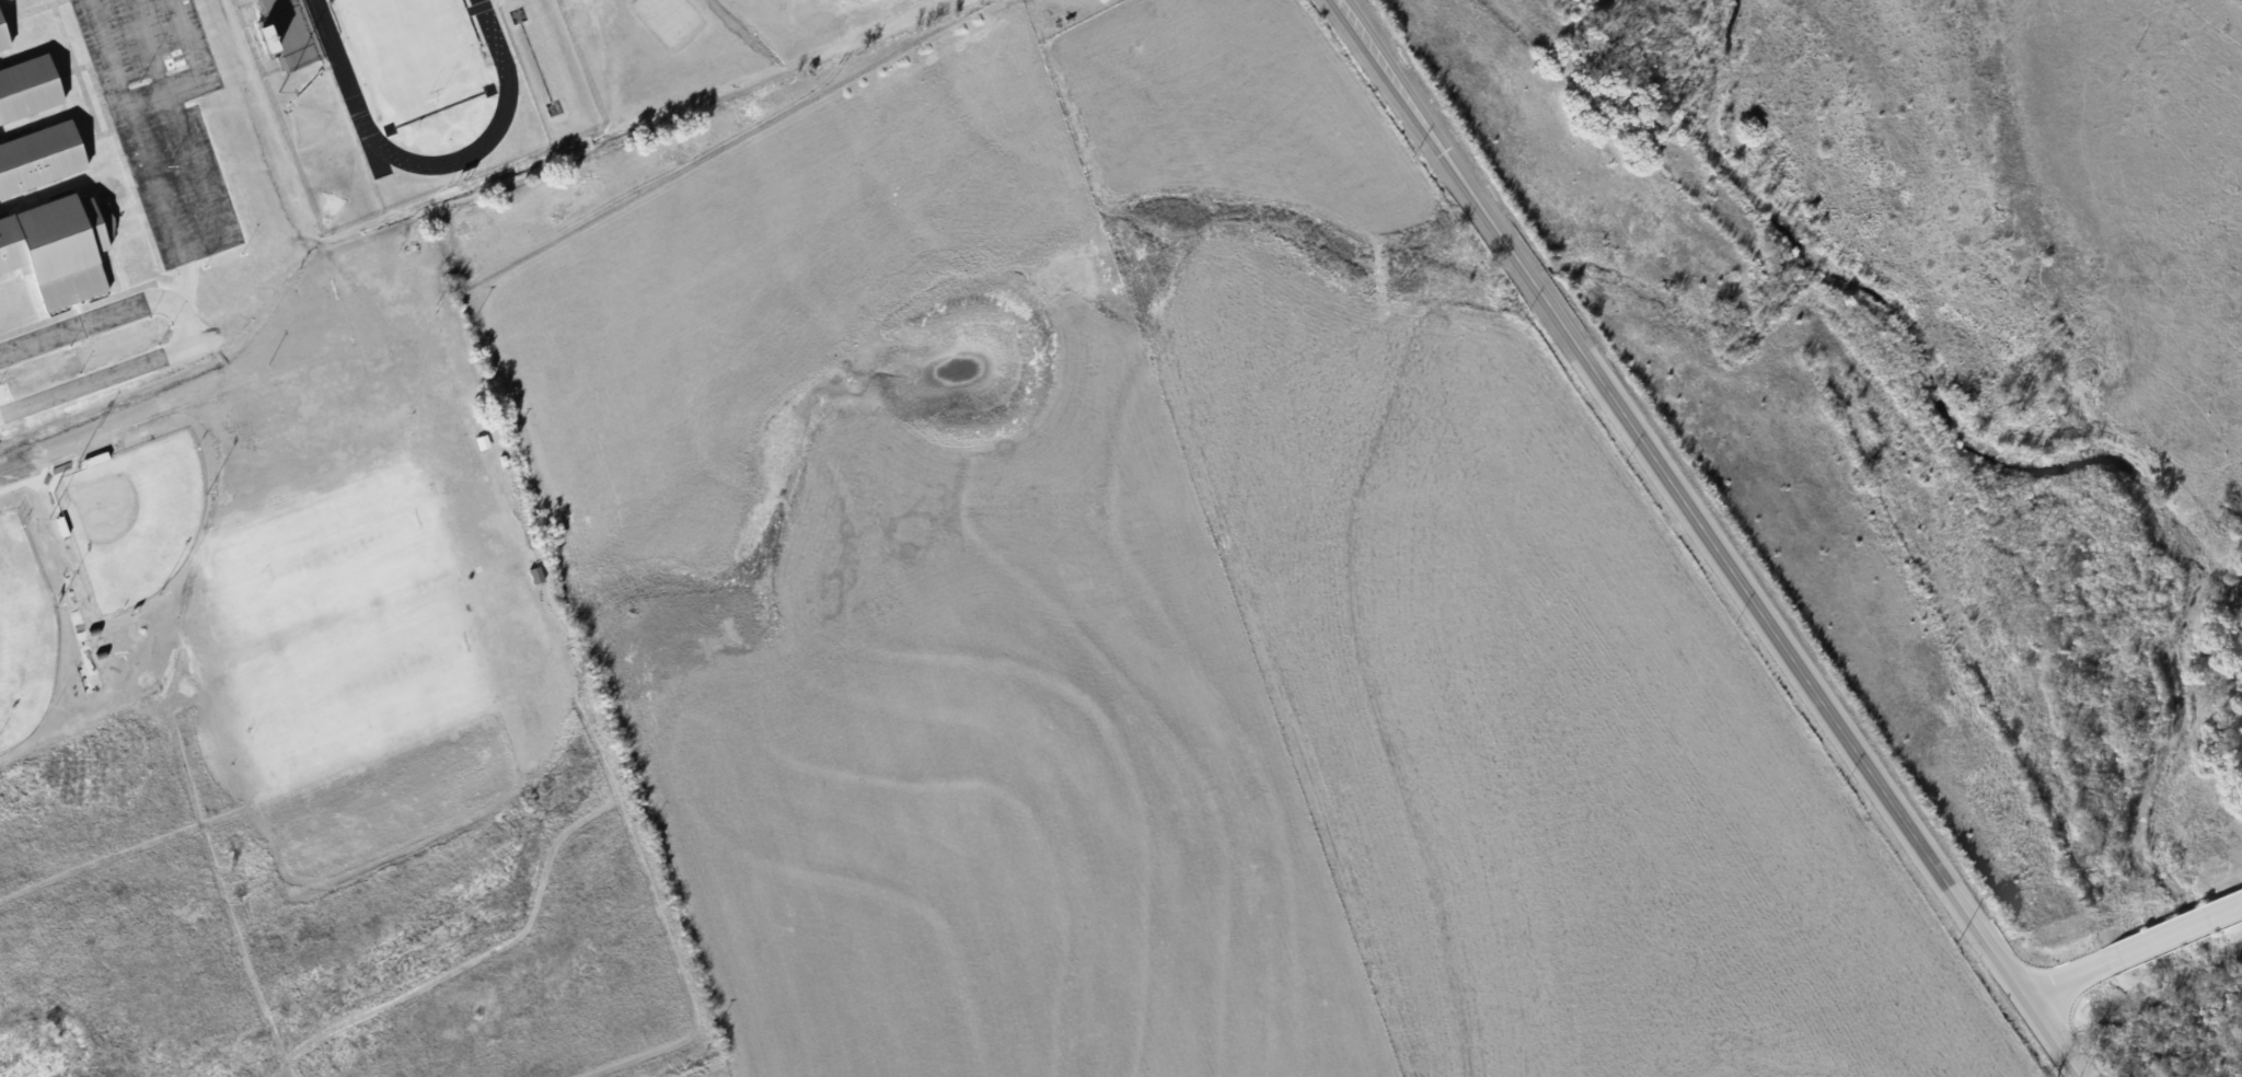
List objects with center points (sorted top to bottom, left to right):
building: (284, 23)
building: (5, 28)
road: (150, 46)
building: (0, 51)
building: (0, 67)
stadium: (403, 93)
building: (25, 94)
road: (148, 100)
road: (182, 130)
building: (36, 164)
road: (176, 239)
building: (54, 255)
road: (115, 372)
building: (485, 441)
road: (1667, 476)
building: (63, 525)
road: (2181, 928)
road: (2070, 973)
road: (2035, 1016)

